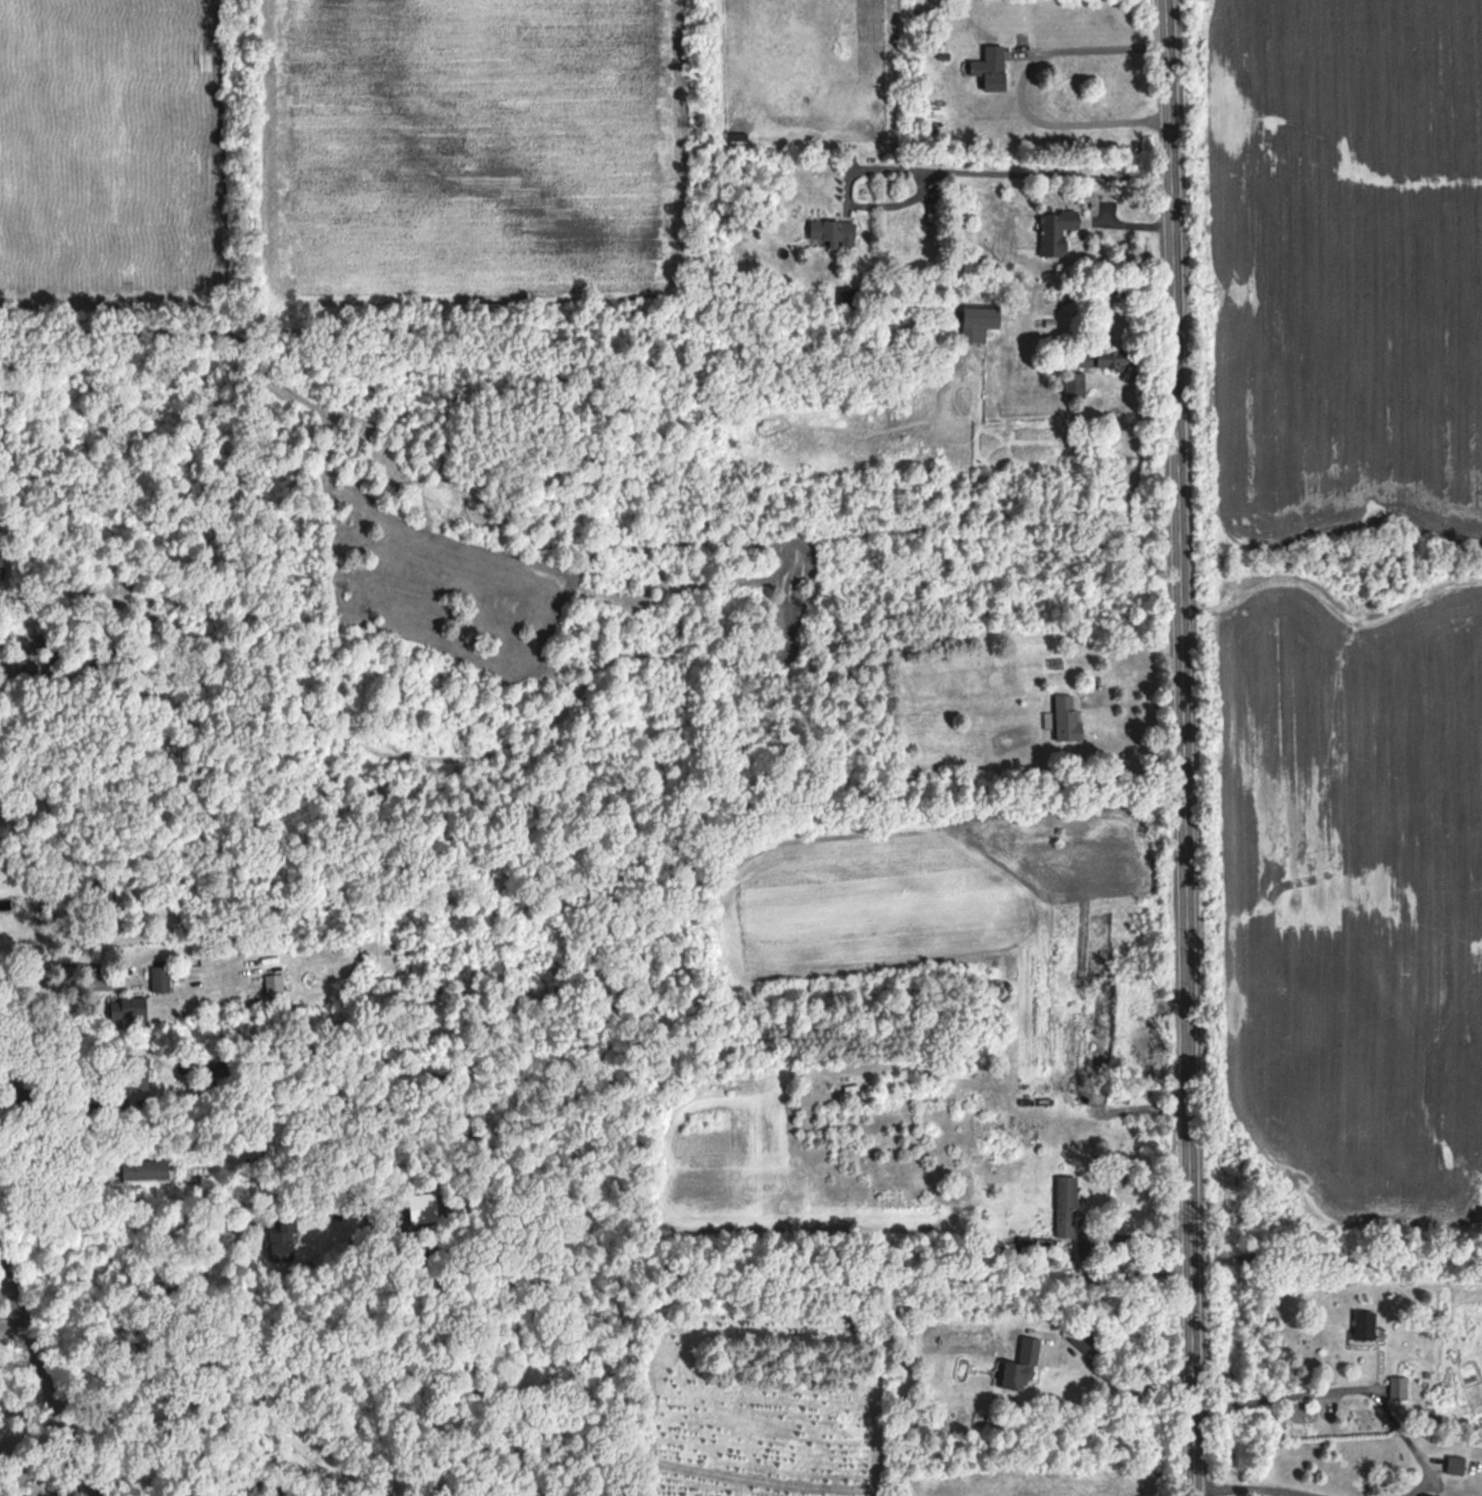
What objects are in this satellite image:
building: (992, 67)
road: (1019, 89)
road: (950, 170)
building: (730, 218)
building: (1056, 230)
building: (832, 231)
building: (982, 316)
building: (928, 334)
building: (1104, 358)
building: (1076, 385)
building: (0, 552)
building: (1067, 719)
road: (1183, 747)
road: (41, 974)
building: (161, 979)
building: (129, 1009)
building: (138, 1073)
road: (61, 1104)
building: (149, 1170)
road: (48, 1182)
road: (127, 1199)
building: (1066, 1205)
building: (284, 1238)
road: (1336, 1256)
building: (1366, 1324)
building: (1023, 1365)
road: (48, 1379)
road: (1124, 1387)
building: (1398, 1387)
road: (1349, 1389)
road: (29, 1414)
road: (38, 1444)
building: (1456, 1464)
road: (61, 1488)
road: (1250, 1491)

